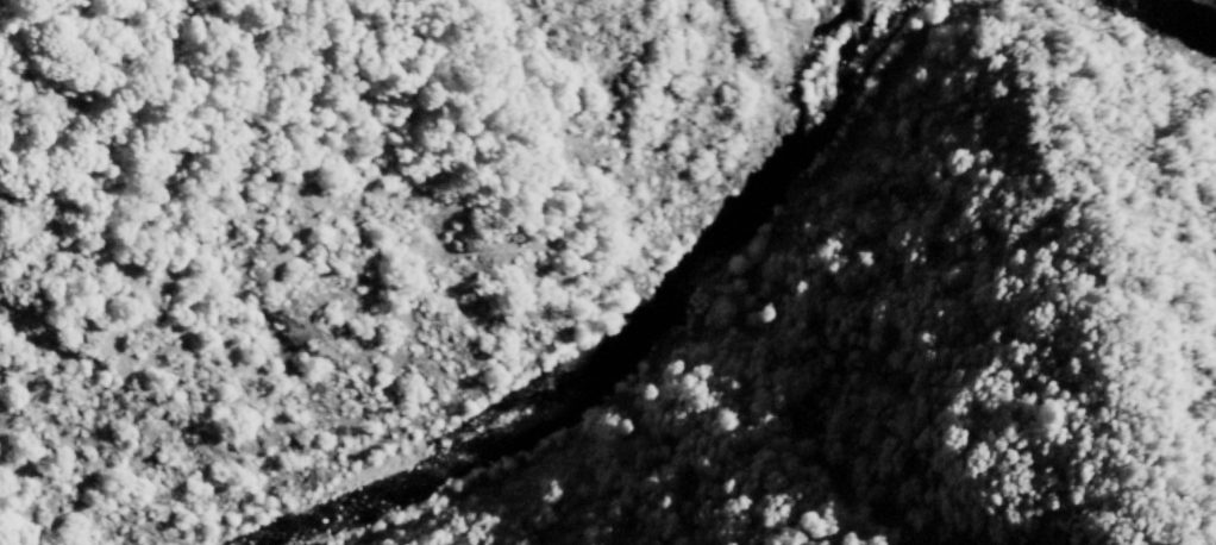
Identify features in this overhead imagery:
river: (1181, 12)
road: (366, 94)
road: (357, 284)
river: (641, 336)

